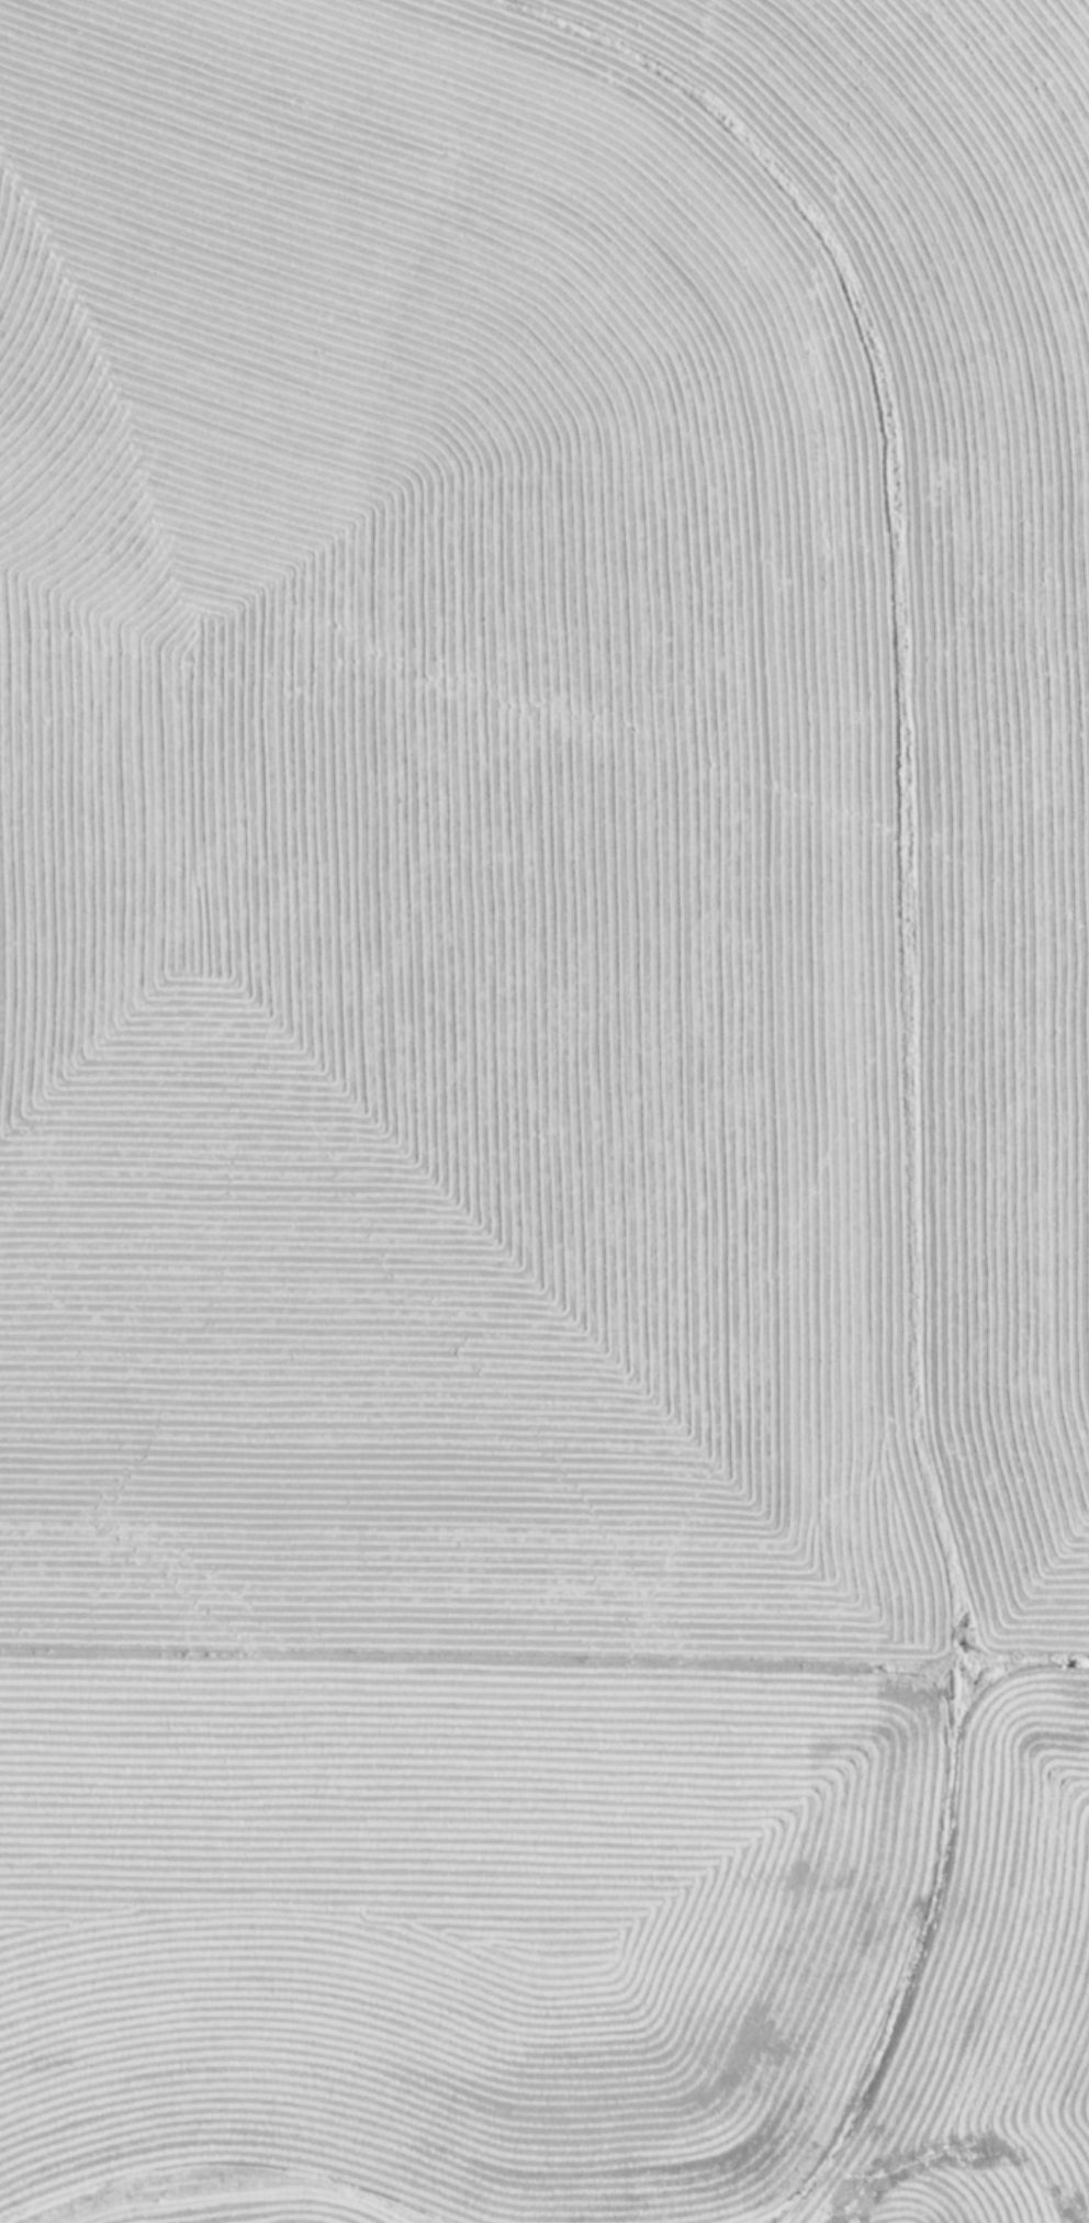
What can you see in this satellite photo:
crop: (544, 1111)

